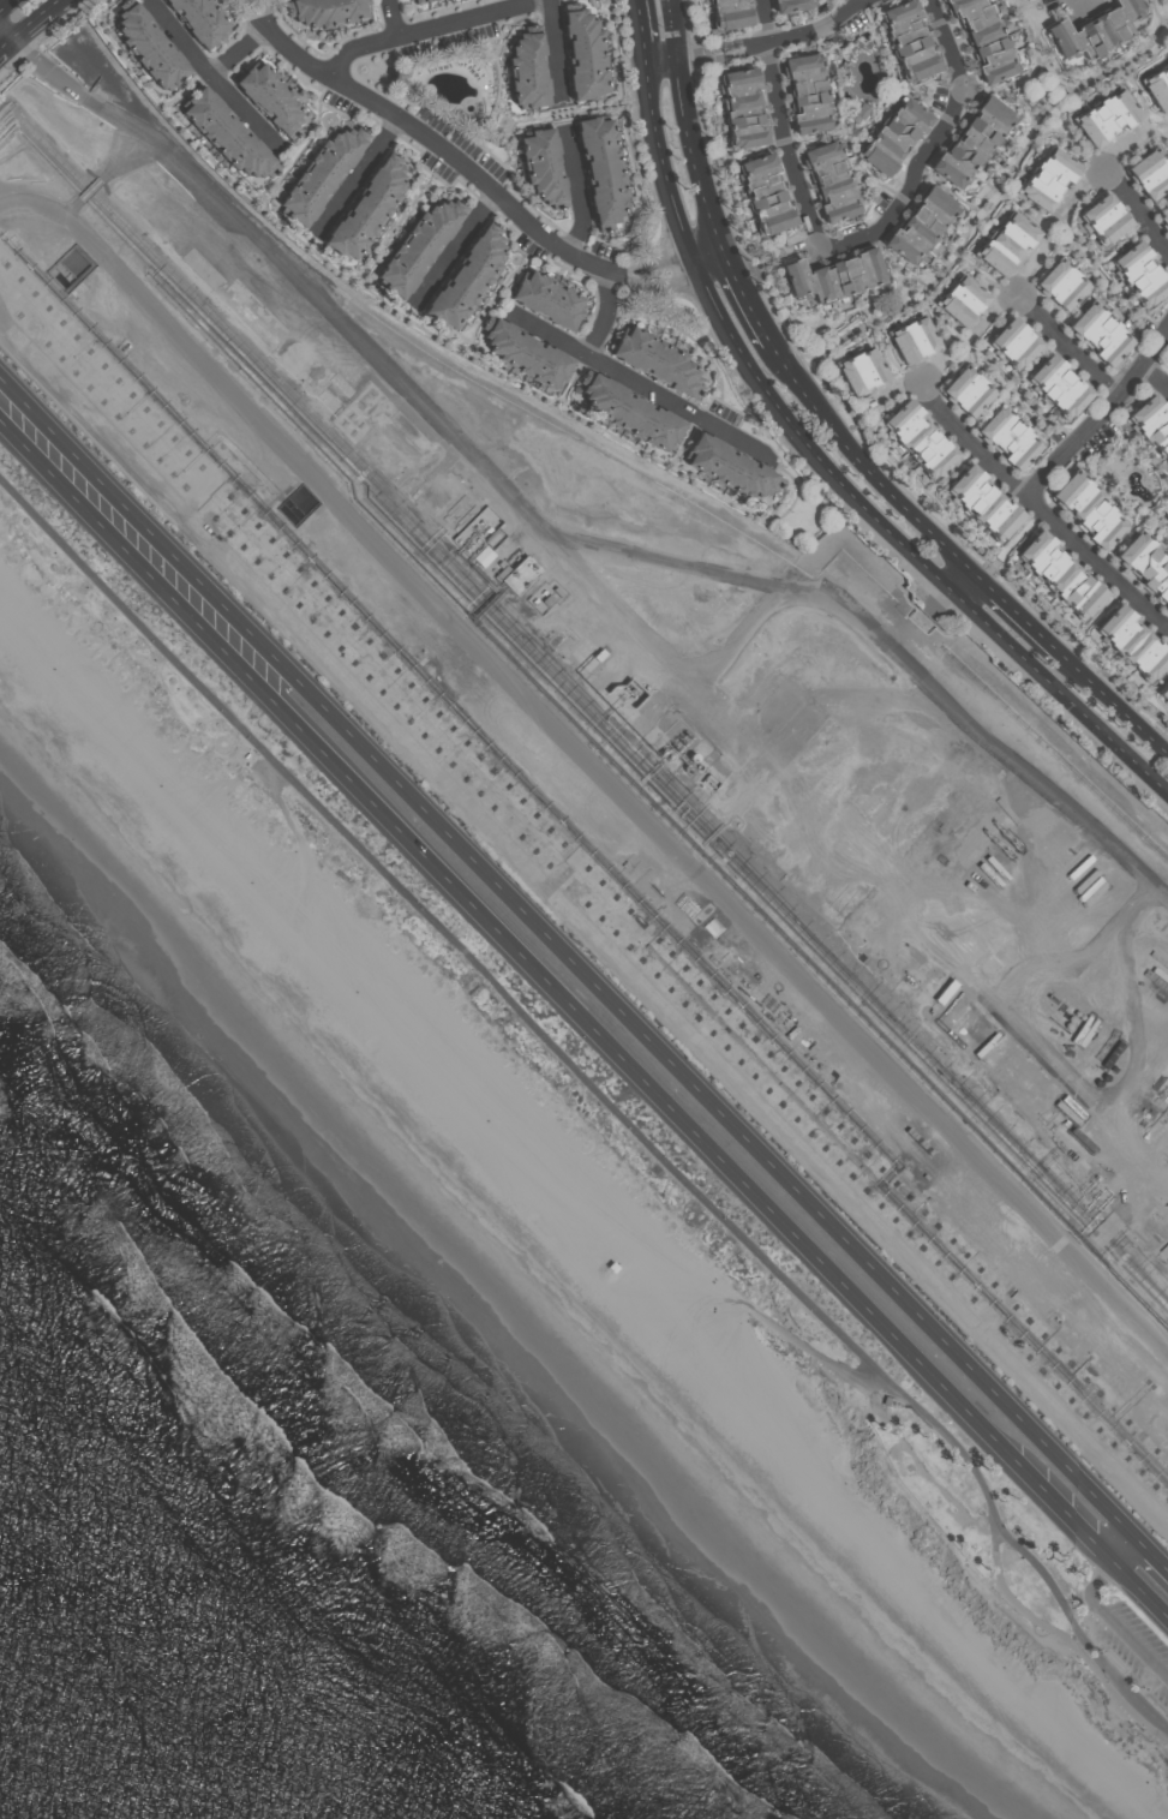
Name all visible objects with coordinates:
building: (407, 0)
building: (418, 1)
road: (2, 2)
building: (791, 5)
road: (1161, 11)
building: (324, 12)
building: (726, 14)
road: (35, 17)
road: (395, 18)
building: (198, 20)
road: (763, 22)
road: (816, 26)
road: (432, 28)
road: (673, 28)
road: (641, 30)
building: (1096, 30)
road: (5, 31)
building: (909, 38)
building: (986, 40)
road: (5, 42)
road: (744, 47)
building: (148, 49)
road: (556, 49)
road: (240, 52)
road: (699, 54)
building: (581, 56)
road: (661, 58)
road: (46, 70)
building: (525, 72)
road: (218, 83)
building: (1160, 86)
building: (808, 92)
building: (269, 100)
building: (743, 108)
building: (858, 112)
building: (1107, 118)
building: (896, 134)
building: (224, 136)
building: (974, 140)
road: (785, 146)
road: (932, 146)
road: (695, 154)
road: (124, 156)
building: (540, 168)
building: (599, 172)
building: (1152, 174)
building: (317, 176)
road: (360, 176)
road: (475, 176)
building: (1049, 179)
building: (831, 180)
road: (90, 189)
road: (581, 192)
building: (766, 192)
road: (71, 209)
road: (1134, 209)
building: (364, 213)
building: (1107, 219)
building: (1166, 219)
building: (921, 227)
building: (1008, 243)
building: (414, 249)
road: (457, 251)
building: (1143, 273)
helipad: (337, 276)
building: (835, 276)
building: (463, 282)
building: (1061, 285)
road: (747, 295)
building: (545, 300)
building: (965, 301)
road: (604, 313)
building: (1101, 336)
building: (914, 340)
building: (1018, 342)
road: (1066, 346)
building: (525, 357)
building: (654, 363)
building: (863, 372)
road: (1155, 377)
road: (631, 378)
building: (340, 385)
building: (1064, 387)
building: (970, 393)
building: (327, 402)
road: (1100, 413)
building: (628, 414)
building: (1154, 424)
building: (922, 436)
road: (975, 437)
building: (1011, 439)
road: (864, 465)
building: (1106, 466)
building: (727, 469)
road: (832, 474)
building: (987, 499)
building: (453, 508)
building: (1089, 511)
building: (473, 529)
road: (131, 533)
road: (1097, 558)
road: (672, 562)
building: (1149, 563)
building: (515, 573)
building: (1061, 576)
road: (965, 585)
building: (541, 593)
building: (556, 593)
building: (533, 602)
building: (545, 602)
road: (612, 602)
road: (1019, 616)
building: (1133, 644)
building: (598, 656)
building: (1163, 695)
road: (1115, 705)
building: (639, 726)
road: (591, 759)
building: (689, 760)
building: (696, 768)
building: (687, 770)
road: (583, 925)
building: (1158, 976)
building: (942, 993)
road: (598, 1091)
road: (708, 1093)
road: (683, 1120)
road: (820, 1354)
road: (1155, 1549)
road: (1142, 1588)
road: (1017, 1602)
road: (1104, 1609)
parking lot: (1134, 1647)

